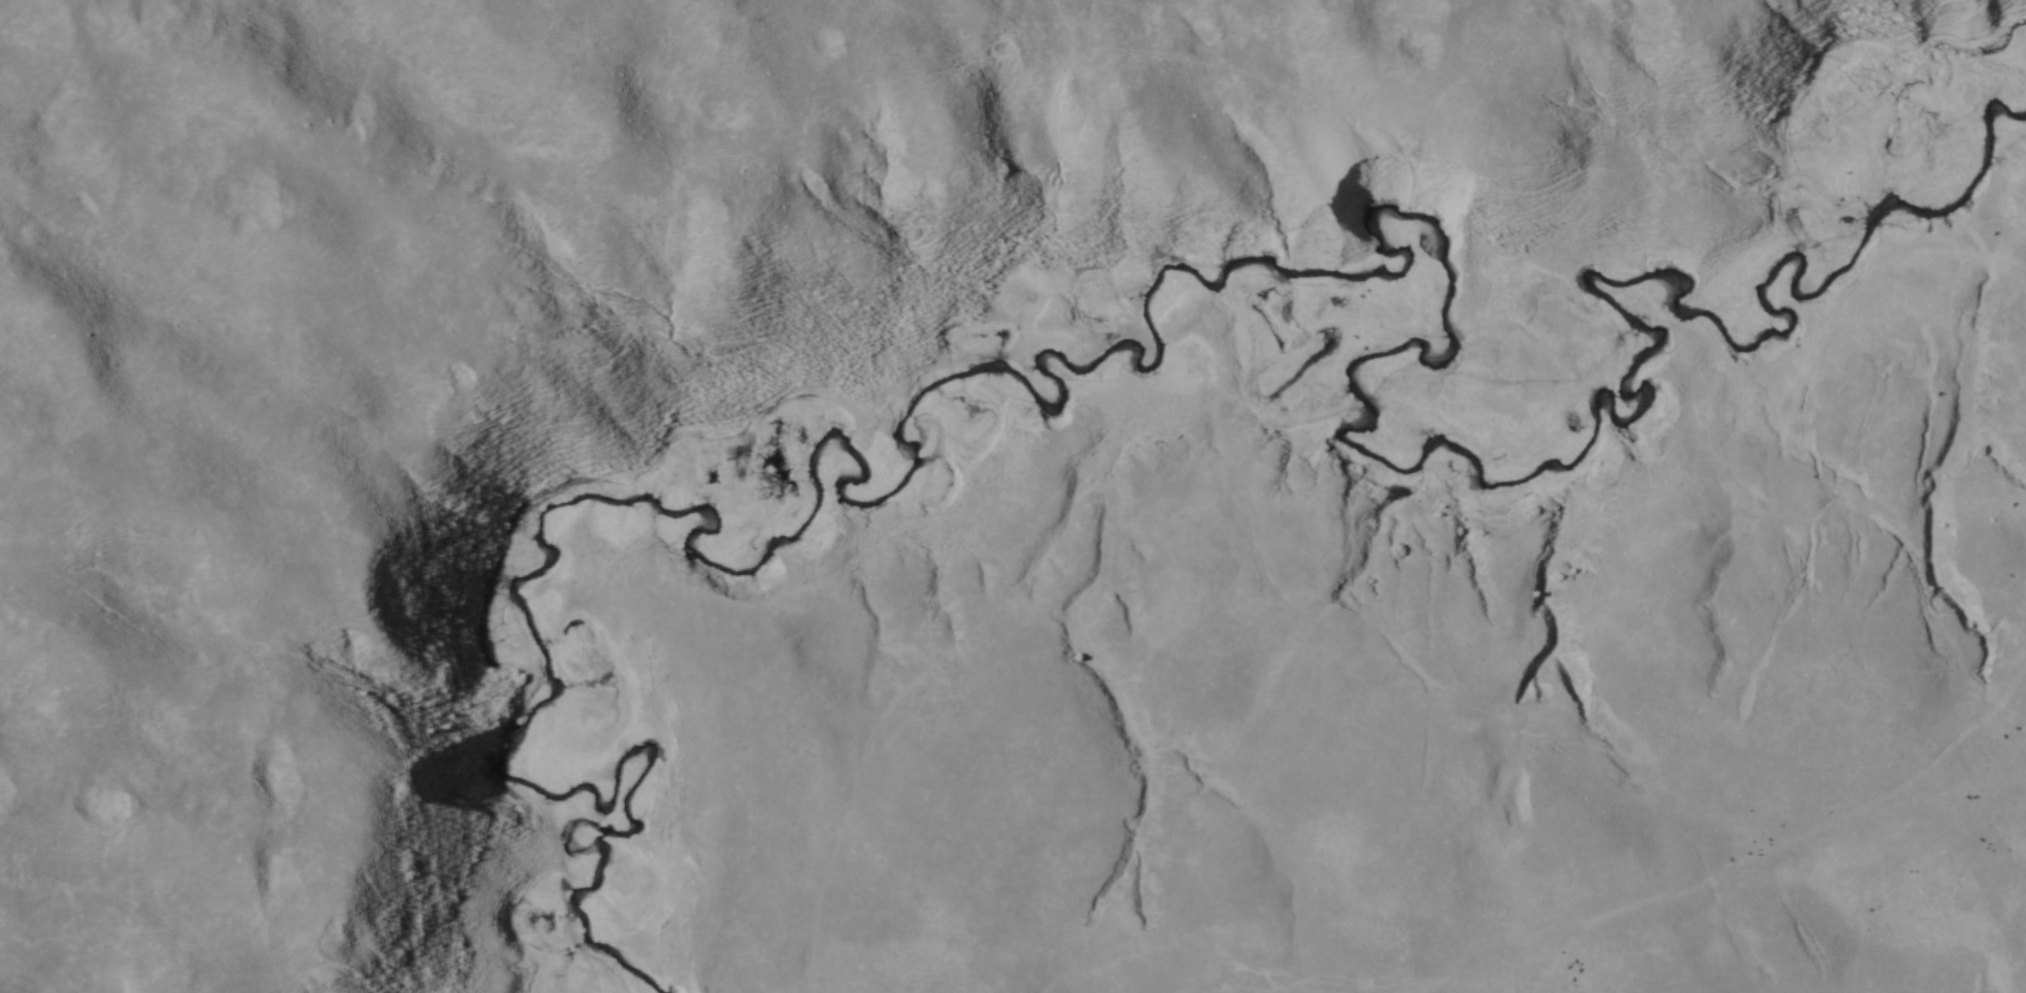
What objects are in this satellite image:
river: (1166, 268)

